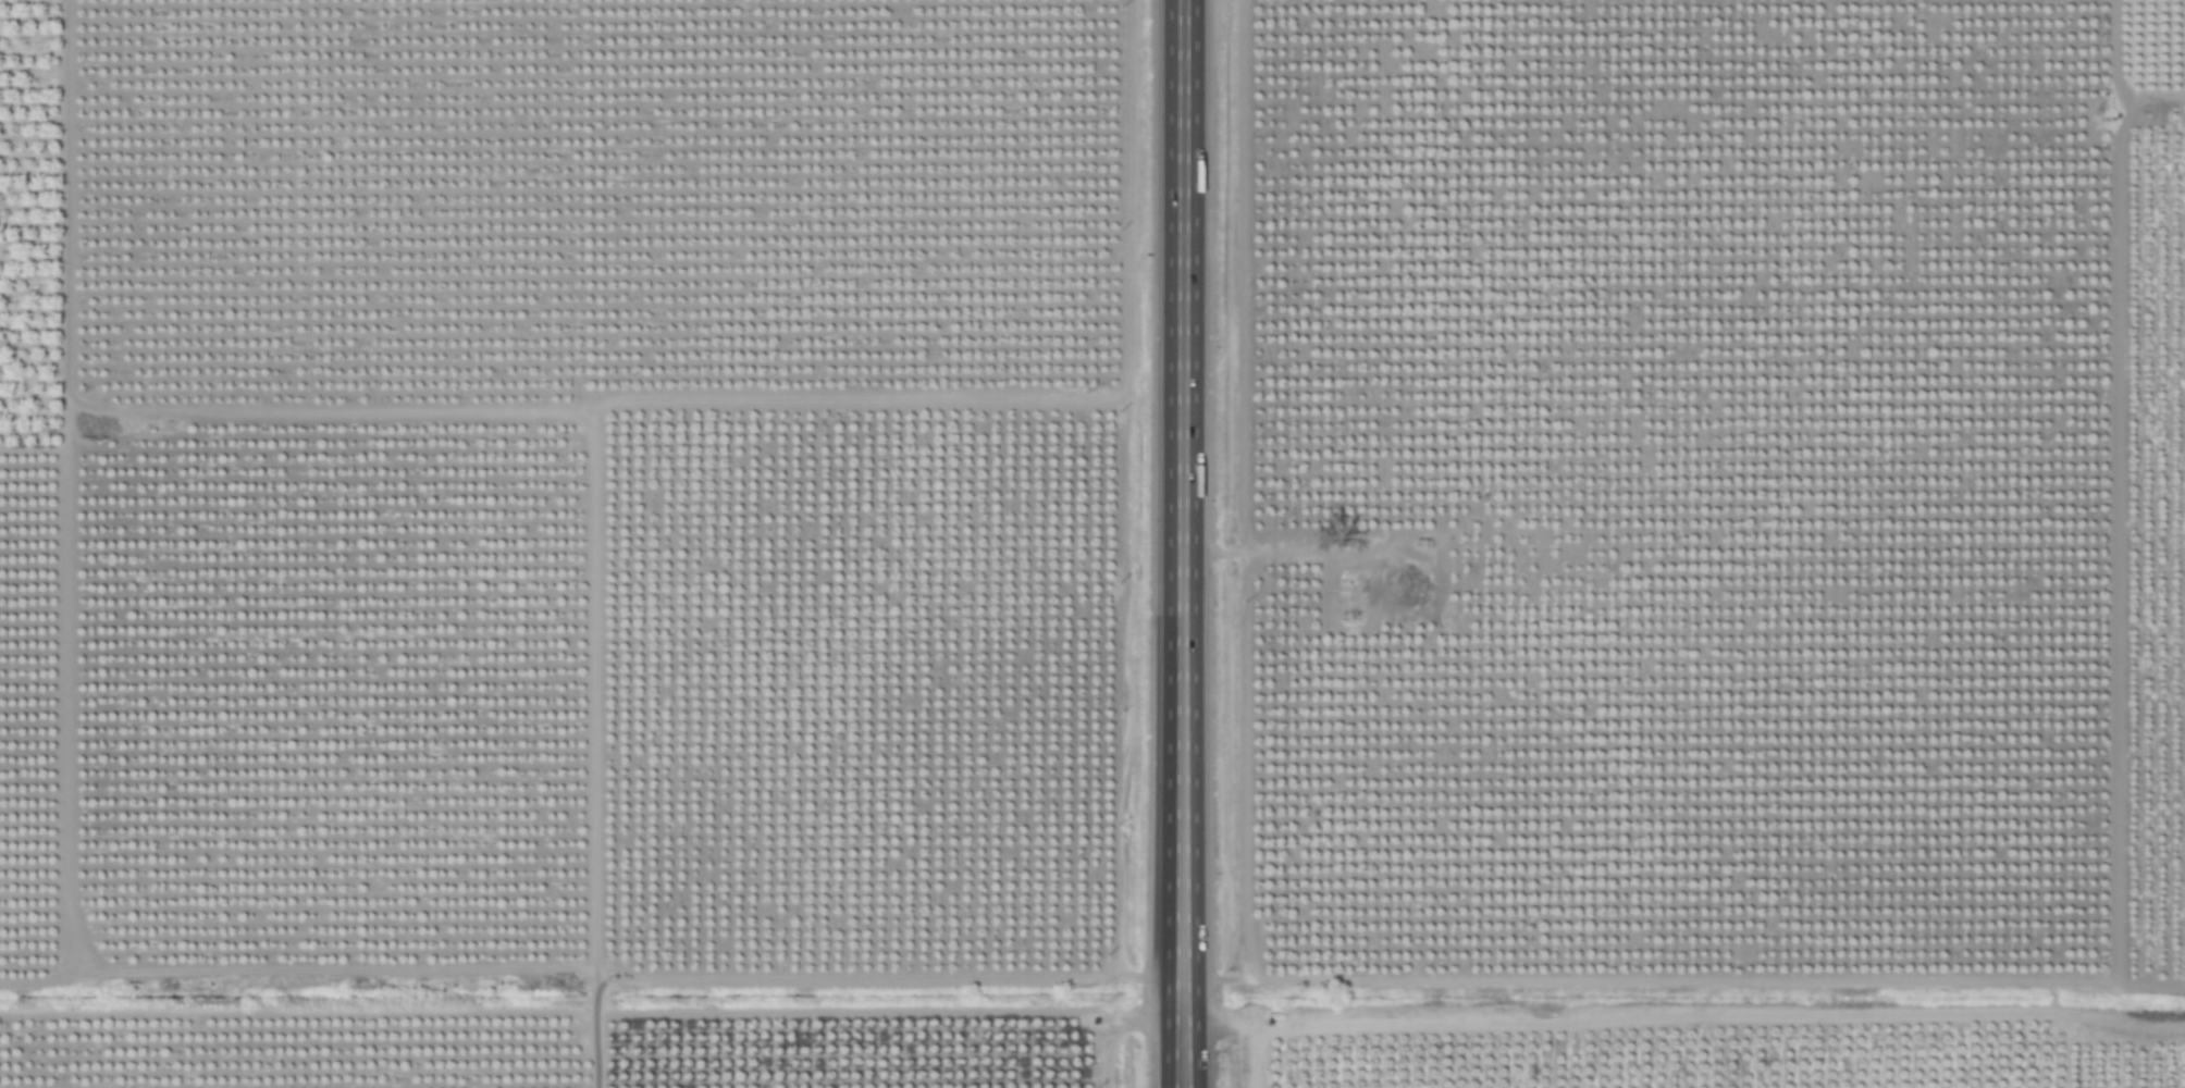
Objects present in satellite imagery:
road: (1183, 544)

